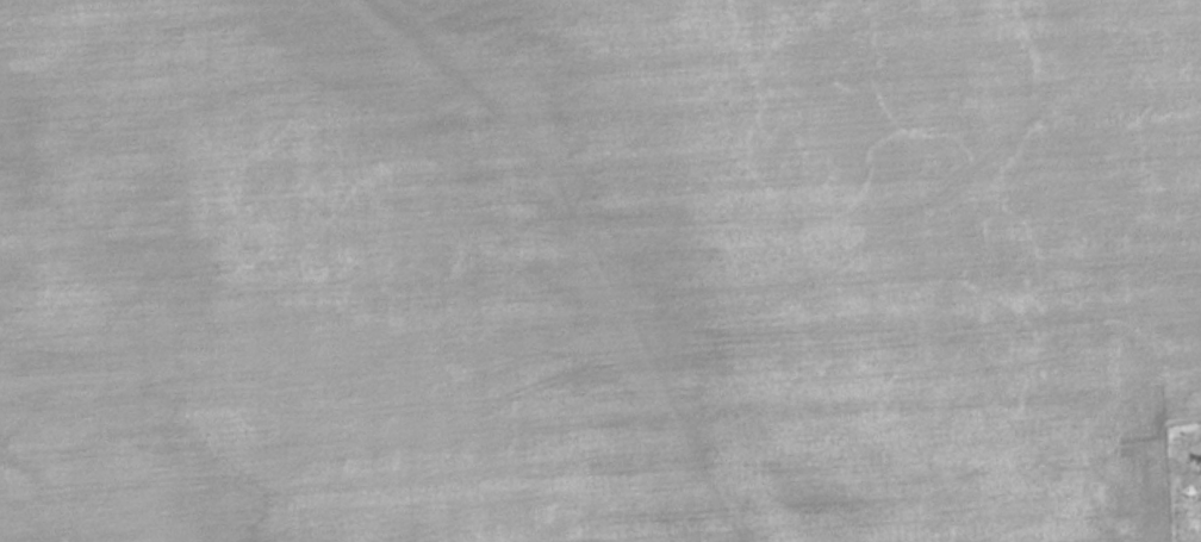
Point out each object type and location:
building: (1196, 463)

